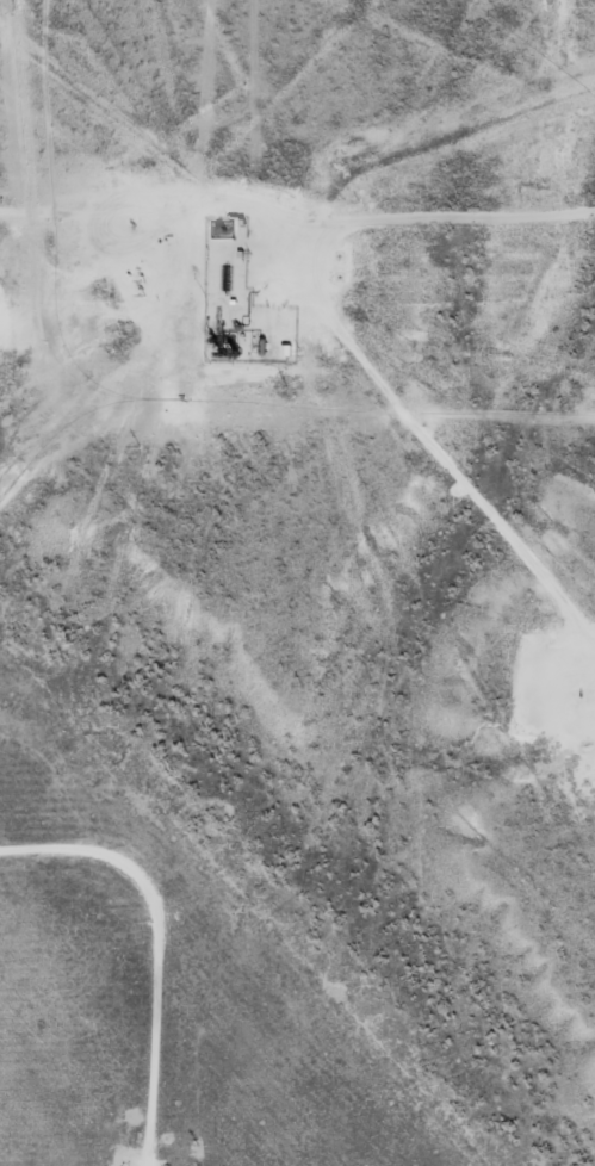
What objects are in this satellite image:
road: (293, 192)

